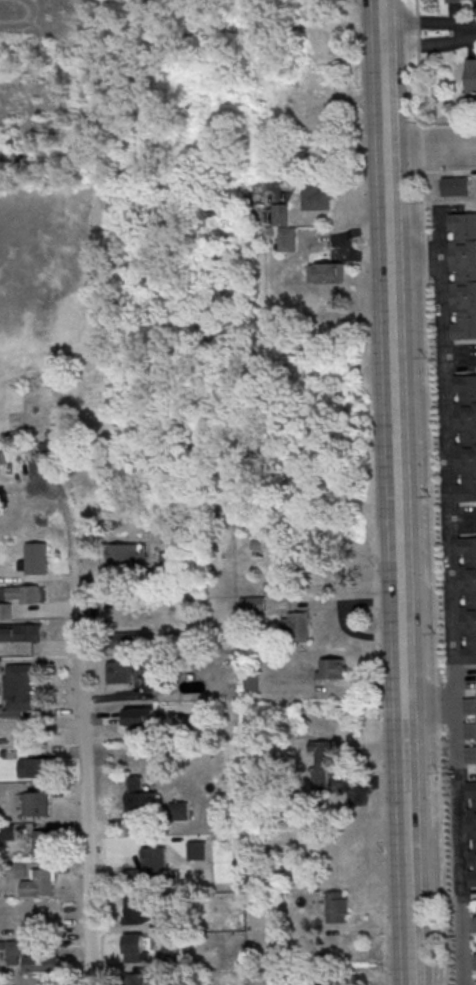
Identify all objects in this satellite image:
building: (454, 0)
building: (474, 1)
road: (430, 34)
building: (471, 77)
road: (447, 126)
building: (456, 186)
building: (318, 199)
building: (282, 216)
building: (289, 240)
building: (464, 273)
building: (328, 274)
road: (392, 407)
building: (466, 435)
building: (54, 444)
road: (432, 492)
building: (258, 545)
building: (123, 554)
building: (299, 558)
building: (38, 559)
building: (169, 561)
building: (272, 589)
building: (25, 595)
building: (469, 596)
building: (254, 606)
building: (6, 611)
building: (298, 627)
building: (21, 634)
building: (126, 639)
building: (334, 670)
building: (120, 674)
building: (18, 681)
building: (469, 708)
building: (139, 719)
building: (470, 732)
building: (470, 755)
road: (83, 761)
building: (322, 764)
building: (35, 767)
building: (139, 803)
building: (36, 805)
building: (180, 810)
building: (472, 821)
building: (7, 832)
building: (44, 845)
building: (156, 866)
building: (21, 871)
building: (44, 880)
building: (473, 880)
road: (405, 899)
building: (338, 908)
building: (138, 909)
building: (475, 942)
building: (136, 950)
building: (27, 958)
building: (137, 980)

